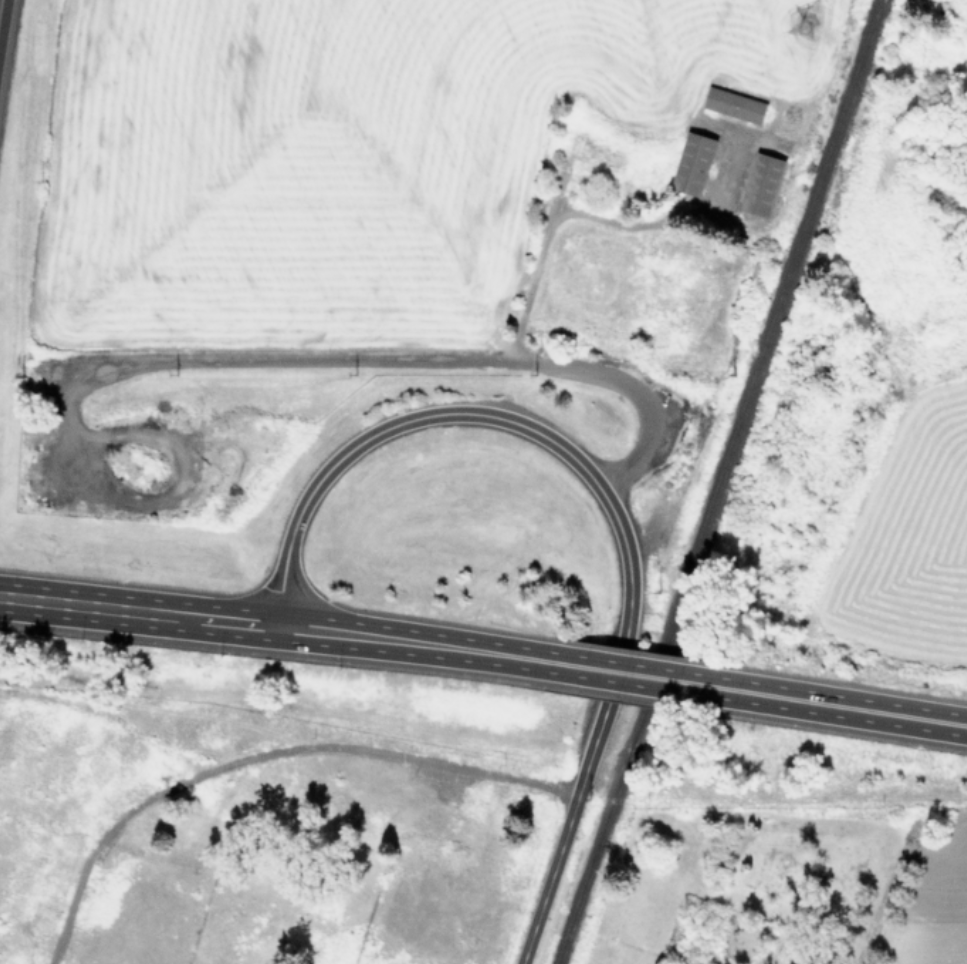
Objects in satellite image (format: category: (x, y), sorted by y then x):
road: (2, 16)
power tower: (800, 24)
building: (734, 104)
building: (593, 149)
building: (693, 163)
crop: (587, 182)
building: (761, 184)
road: (589, 223)
road: (404, 359)
railway: (720, 482)
road: (603, 494)
road: (274, 625)
road: (623, 674)
road: (833, 706)

